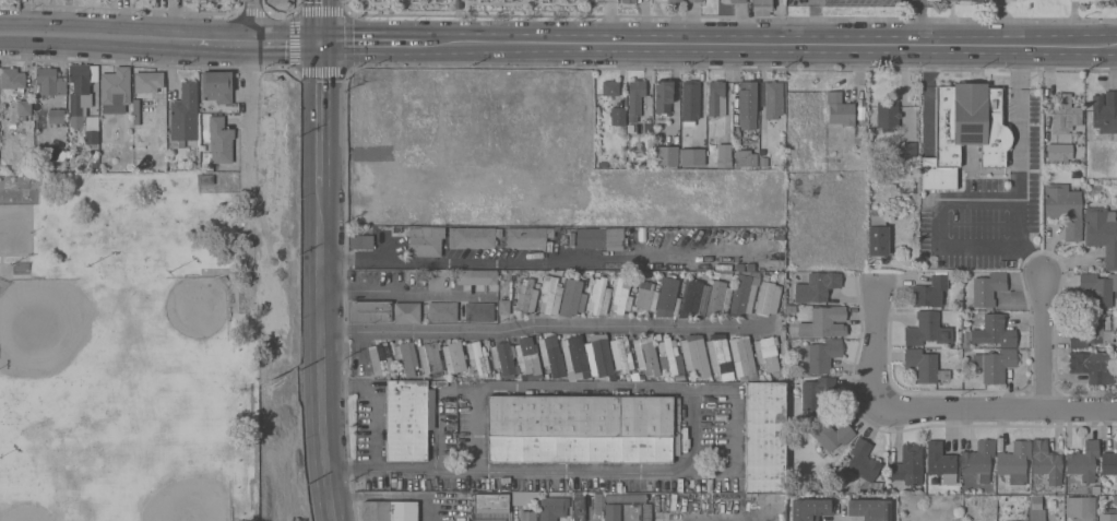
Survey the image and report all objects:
building: (508, 0)
building: (544, 0)
building: (675, 0)
building: (929, 0)
building: (1093, 0)
building: (202, 1)
building: (569, 1)
building: (628, 1)
building: (694, 1)
building: (737, 1)
building: (761, 7)
road: (256, 20)
road: (319, 20)
road: (611, 21)
road: (812, 22)
road: (920, 22)
road: (128, 36)
road: (287, 39)
traffic signals: (320, 40)
road: (354, 40)
road: (752, 44)
building: (11, 78)
building: (50, 81)
building: (147, 81)
building: (216, 85)
building: (610, 87)
building: (115, 88)
building: (558, 90)
building: (690, 95)
building: (634, 98)
building: (715, 98)
building: (771, 98)
building: (663, 99)
building: (82, 104)
road: (250, 104)
building: (747, 104)
building: (942, 104)
building: (23, 106)
building: (456, 106)
building: (560, 108)
building: (839, 109)
building: (135, 111)
building: (1105, 111)
building: (1065, 114)
building: (183, 115)
building: (617, 115)
building: (887, 115)
building: (56, 116)
road: (363, 116)
building: (395, 117)
building: (519, 118)
building: (487, 119)
building: (421, 121)
road: (587, 121)
building: (1006, 123)
building: (1034, 135)
building: (218, 141)
building: (906, 150)
road: (320, 151)
building: (1059, 153)
building: (414, 154)
building: (724, 155)
building: (666, 156)
building: (691, 156)
building: (741, 157)
building: (1035, 168)
building: (204, 179)
building: (1065, 209)
building: (483, 212)
building: (392, 213)
building: (1102, 233)
building: (877, 234)
building: (473, 236)
building: (527, 236)
building: (597, 238)
building: (425, 240)
building: (361, 241)
road: (1013, 253)
road: (534, 262)
building: (478, 276)
building: (817, 286)
building: (1098, 287)
building: (987, 289)
building: (745, 292)
building: (929, 292)
building: (621, 294)
building: (550, 295)
road: (400, 296)
building: (526, 296)
building: (599, 296)
building: (646, 296)
building: (694, 296)
building: (572, 297)
building: (668, 297)
building: (718, 297)
building: (768, 297)
building: (502, 307)
building: (369, 310)
building: (442, 311)
building: (479, 311)
building: (406, 312)
building: (824, 322)
park: (45, 324)
road: (537, 328)
building: (927, 329)
building: (1093, 330)
building: (994, 332)
road: (1042, 343)
road: (870, 346)
park: (124, 352)
building: (550, 353)
building: (621, 353)
building: (742, 353)
building: (767, 353)
building: (669, 354)
building: (718, 354)
building: (821, 354)
building: (525, 355)
building: (574, 355)
building: (646, 355)
building: (599, 356)
building: (694, 356)
building: (406, 357)
building: (429, 357)
building: (453, 357)
building: (502, 357)
building: (478, 358)
building: (380, 359)
building: (995, 364)
building: (924, 366)
building: (1093, 366)
road: (321, 391)
building: (816, 391)
road: (377, 399)
road: (993, 408)
building: (408, 419)
building: (583, 428)
building: (831, 434)
building: (764, 437)
building: (978, 459)
building: (1083, 461)
building: (940, 462)
building: (1014, 462)
building: (863, 463)
building: (1046, 463)
building: (1108, 463)
road: (740, 464)
building: (908, 465)
park: (186, 492)
building: (625, 497)
building: (524, 498)
building: (491, 506)
building: (579, 507)
building: (1080, 507)
building: (552, 508)
building: (810, 509)
building: (869, 509)
building: (1036, 509)
building: (389, 511)
building: (611, 512)
building: (1107, 514)
building: (527, 516)

